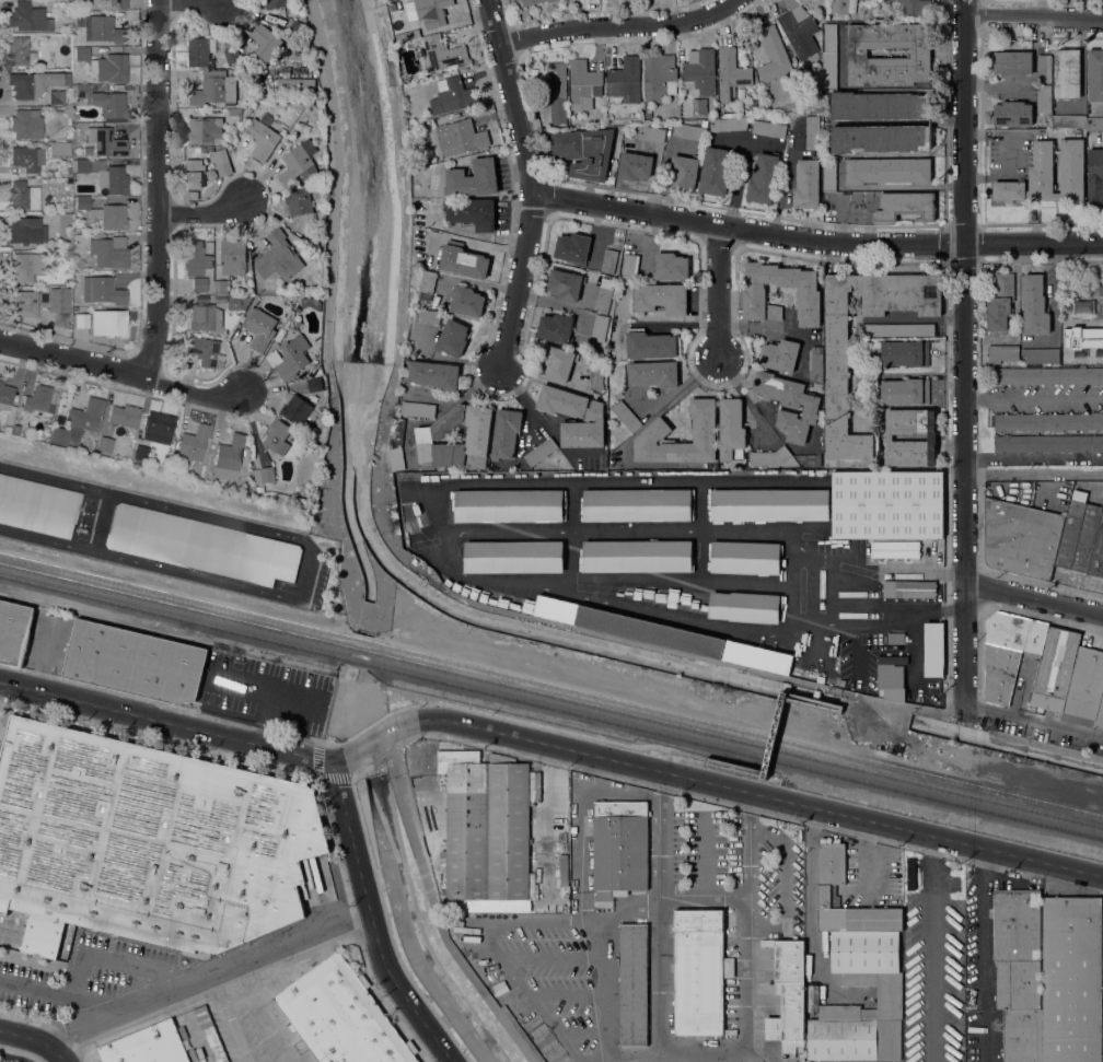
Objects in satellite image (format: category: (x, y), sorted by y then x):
building: (533, 1)
building: (115, 3)
building: (275, 3)
road: (193, 5)
building: (843, 5)
building: (912, 8)
building: (431, 12)
road: (1033, 14)
building: (28, 17)
building: (80, 20)
building: (68, 26)
road: (620, 26)
building: (298, 27)
building: (105, 30)
building: (798, 31)
building: (407, 35)
building: (63, 40)
building: (265, 43)
building: (201, 50)
building: (20, 52)
building: (442, 52)
building: (919, 52)
building: (81, 54)
building: (231, 54)
building: (773, 55)
building: (829, 56)
building: (1012, 63)
building: (111, 68)
building: (1044, 69)
building: (700, 71)
road: (1081, 72)
building: (1067, 73)
building: (731, 74)
building: (1095, 75)
building: (659, 77)
building: (405, 79)
building: (625, 80)
building: (582, 82)
building: (34, 83)
building: (556, 83)
building: (295, 85)
building: (213, 89)
building: (452, 95)
building: (56, 97)
building: (1044, 100)
building: (101, 101)
building: (879, 105)
building: (1012, 114)
building: (232, 115)
building: (557, 118)
building: (1068, 121)
building: (729, 122)
building: (25, 124)
building: (1094, 124)
building: (768, 128)
building: (206, 130)
building: (693, 132)
building: (652, 133)
building: (812, 133)
building: (67, 136)
building: (460, 137)
building: (262, 139)
road: (730, 139)
building: (880, 139)
building: (105, 142)
building: (58, 149)
building: (197, 149)
building: (206, 149)
building: (86, 150)
building: (584, 151)
building: (26, 159)
building: (221, 162)
building: (299, 162)
building: (88, 165)
building: (634, 166)
road: (739, 170)
building: (68, 171)
building: (684, 171)
building: (887, 171)
building: (715, 172)
building: (193, 174)
building: (210, 174)
building: (829, 174)
building: (1047, 175)
building: (472, 178)
building: (763, 178)
building: (115, 180)
building: (1095, 180)
road: (536, 184)
building: (805, 184)
road: (161, 189)
building: (210, 189)
building: (191, 195)
building: (22, 196)
building: (82, 202)
building: (905, 206)
building: (302, 207)
building: (472, 212)
road: (207, 215)
building: (111, 217)
building: (78, 230)
building: (25, 231)
building: (315, 238)
road: (818, 244)
building: (572, 248)
building: (108, 252)
building: (68, 254)
building: (232, 256)
building: (279, 257)
building: (195, 258)
building: (462, 260)
building: (608, 260)
building: (24, 266)
building: (629, 266)
building: (670, 267)
building: (427, 282)
building: (198, 283)
building: (566, 284)
building: (220, 287)
building: (105, 291)
road: (720, 292)
building: (604, 294)
park: (1083, 294)
building: (808, 296)
building: (661, 297)
building: (237, 302)
building: (466, 302)
building: (1000, 302)
building: (24, 303)
building: (314, 304)
building: (1034, 306)
building: (1083, 307)
park: (1081, 315)
building: (205, 316)
building: (428, 317)
building: (45, 318)
building: (59, 318)
building: (80, 320)
road: (328, 320)
building: (108, 323)
building: (258, 327)
building: (556, 328)
building: (600, 328)
building: (897, 329)
building: (1082, 337)
building: (453, 338)
building: (836, 343)
building: (650, 345)
building: (205, 351)
road: (964, 351)
building: (904, 353)
building: (1002, 353)
building: (779, 355)
building: (1041, 355)
building: (290, 358)
building: (559, 363)
building: (815, 363)
road: (123, 372)
building: (653, 373)
building: (433, 374)
building: (1048, 375)
building: (595, 378)
building: (314, 385)
building: (905, 392)
building: (4, 395)
road: (1033, 396)
road: (754, 399)
building: (39, 400)
building: (561, 401)
building: (789, 405)
building: (418, 409)
building: (299, 413)
building: (124, 416)
building: (626, 416)
building: (1048, 421)
building: (77, 423)
building: (5, 429)
building: (159, 429)
building: (585, 429)
building: (15, 430)
building: (731, 430)
building: (506, 433)
building: (653, 433)
building: (277, 436)
building: (429, 436)
building: (910, 436)
building: (193, 443)
building: (396, 443)
building: (1048, 443)
building: (105, 444)
building: (141, 452)
building: (539, 452)
building: (229, 457)
building: (769, 457)
road: (1033, 457)
building: (808, 460)
building: (264, 475)
building: (260, 489)
building: (770, 504)
building: (887, 504)
building: (509, 505)
building: (637, 505)
building: (38, 506)
road: (184, 511)
road: (101, 522)
building: (1071, 529)
building: (1021, 538)
building: (1090, 542)
building: (202, 546)
building: (893, 549)
building: (924, 549)
building: (513, 557)
building: (636, 557)
building: (746, 557)
road: (151, 564)
building: (909, 588)
road: (1033, 598)
building: (745, 607)
building: (13, 630)
building: (664, 634)
building: (897, 638)
building: (933, 650)
building: (1008, 651)
building: (135, 661)
building: (1055, 668)
building: (891, 681)
building: (929, 681)
railway: (551, 684)
building: (1084, 687)
railway: (551, 695)
building: (926, 700)
road: (838, 704)
railway: (551, 705)
road: (841, 708)
road: (928, 710)
building: (1100, 715)
road: (1033, 719)
road: (364, 727)
road: (771, 736)
road: (547, 745)
road: (718, 760)
building: (486, 831)
road: (658, 831)
building: (147, 841)
road: (748, 842)
building: (619, 849)
building: (564, 870)
road: (703, 898)
building: (550, 908)
road: (436, 909)
building: (566, 909)
building: (914, 919)
road: (373, 921)
building: (931, 935)
road: (980, 954)
road: (109, 957)
building: (699, 971)
building: (857, 971)
building: (1019, 971)
road: (208, 972)
building: (1071, 979)
building: (634, 983)
road: (49, 994)
building: (788, 995)
road: (259, 1013)
building: (341, 1016)
road: (227, 1017)
road: (36, 1039)
building: (149, 1046)

